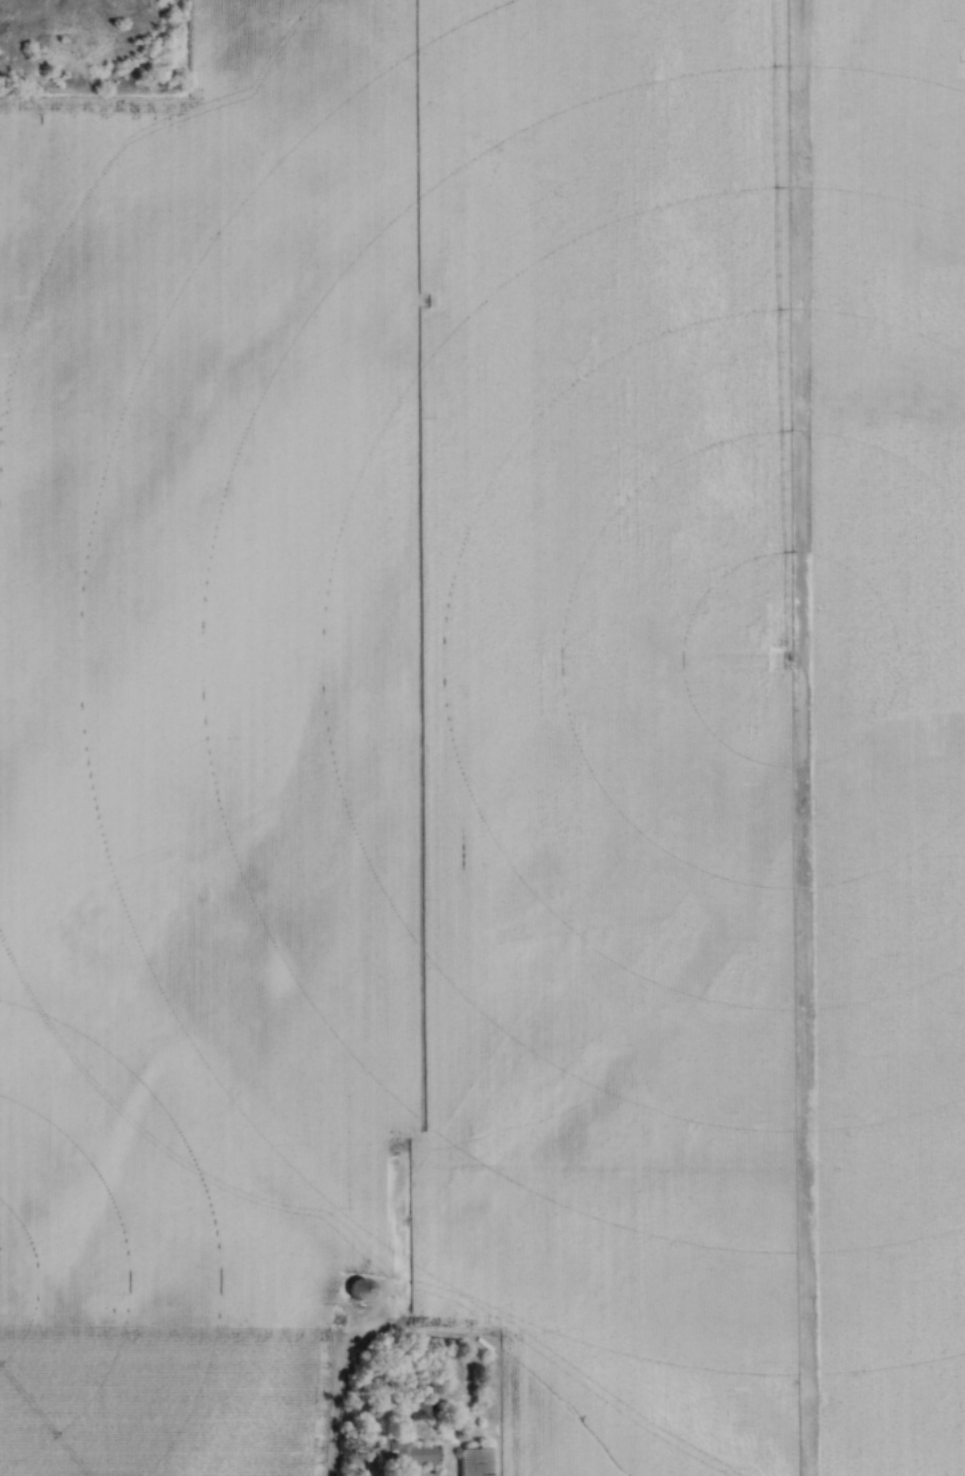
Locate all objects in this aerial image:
building: (358, 1291)
building: (418, 1413)
building: (403, 1455)
building: (473, 1461)

